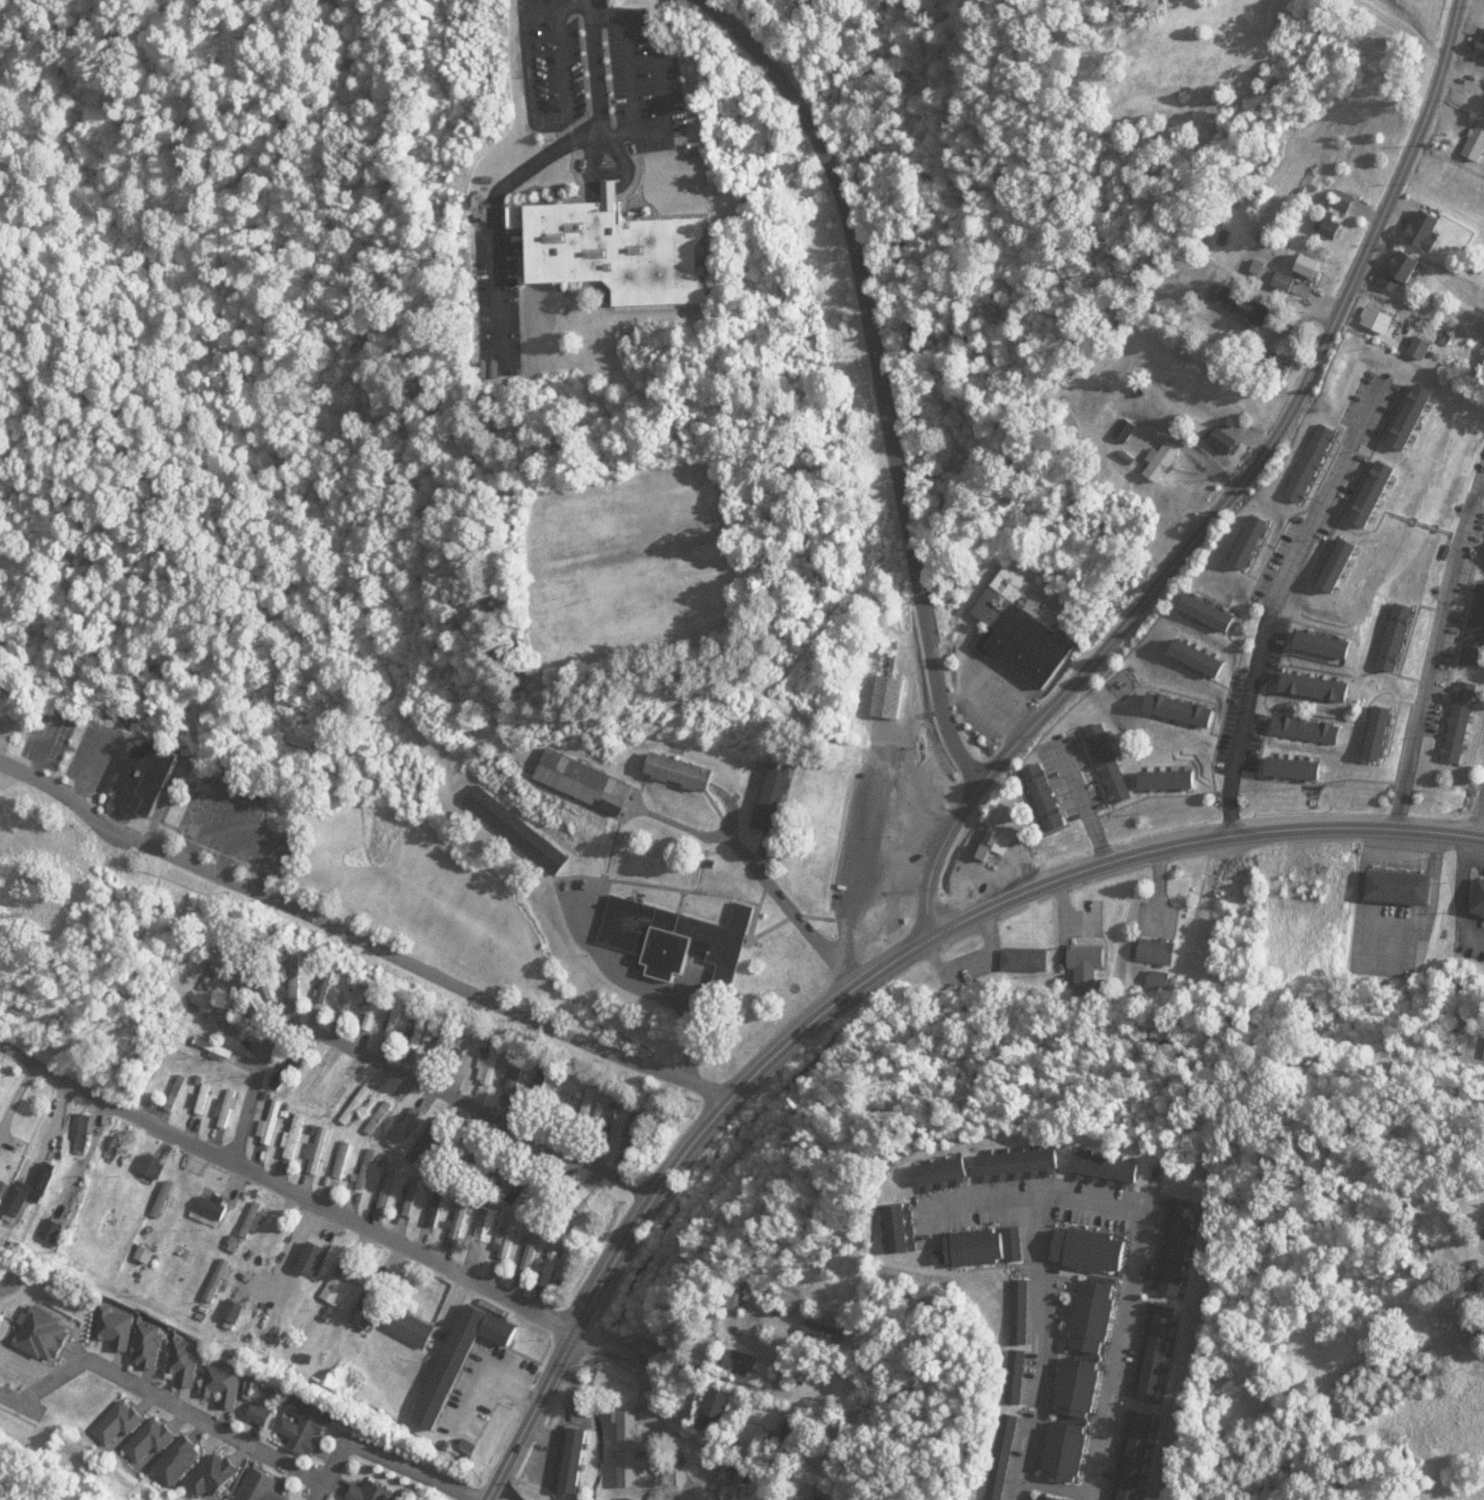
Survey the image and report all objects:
road: (574, 6)
road: (534, 117)
road: (634, 122)
road: (530, 166)
building: (617, 250)
road: (879, 373)
road: (1233, 491)
road: (1276, 599)
building: (1022, 627)
road: (1431, 652)
building: (888, 698)
building: (679, 773)
building: (150, 777)
building: (586, 782)
building: (1037, 785)
building: (773, 799)
road: (1079, 808)
road: (1481, 808)
building: (512, 824)
road: (1202, 839)
road: (752, 876)
road: (861, 906)
road: (358, 938)
building: (676, 939)
building: (1022, 961)
building: (298, 979)
road: (643, 987)
building: (353, 995)
building: (378, 1004)
building: (234, 1019)
building: (447, 1046)
building: (217, 1047)
building: (471, 1056)
building: (495, 1062)
building: (290, 1069)
road: (402, 1072)
building: (516, 1081)
building: (544, 1084)
building: (312, 1088)
building: (339, 1091)
building: (180, 1092)
building: (206, 1097)
road: (118, 1100)
building: (361, 1103)
building: (231, 1108)
building: (383, 1116)
building: (604, 1117)
building: (276, 1121)
building: (408, 1126)
building: (84, 1130)
building: (630, 1130)
building: (297, 1136)
building: (431, 1137)
building: (458, 1145)
building: (320, 1152)
building: (346, 1158)
building: (1017, 1163)
building: (154, 1164)
building: (370, 1167)
building: (942, 1171)
road: (665, 1178)
building: (392, 1185)
building: (524, 1186)
building: (20, 1199)
building: (168, 1200)
building: (440, 1204)
building: (463, 1213)
building: (257, 1219)
building: (116, 1220)
building: (491, 1222)
building: (894, 1227)
building: (55, 1230)
building: (511, 1237)
building: (211, 1242)
road: (1143, 1242)
road: (407, 1247)
building: (977, 1247)
building: (316, 1256)
building: (221, 1277)
building: (343, 1282)
building: (232, 1311)
building: (366, 1312)
building: (1018, 1312)
building: (408, 1328)
building: (113, 1329)
building: (813, 1330)
building: (39, 1335)
building: (145, 1346)
road: (1045, 1351)
building: (458, 1359)
building: (735, 1360)
building: (183, 1362)
building: (1014, 1377)
building: (222, 1384)
road: (649, 1396)
road: (158, 1403)
building: (714, 1410)
building: (257, 1413)
building: (626, 1422)
building: (300, 1425)
building: (791, 1434)
road: (379, 1456)
building: (999, 1457)
building: (572, 1460)
building: (175, 1461)
building: (626, 1468)
building: (673, 1468)
building: (210, 1476)
building: (709, 1478)
building: (767, 1480)
building: (258, 1486)
road: (1057, 1489)
building: (369, 1492)
building: (1047, 1497)
building: (814, 1498)

